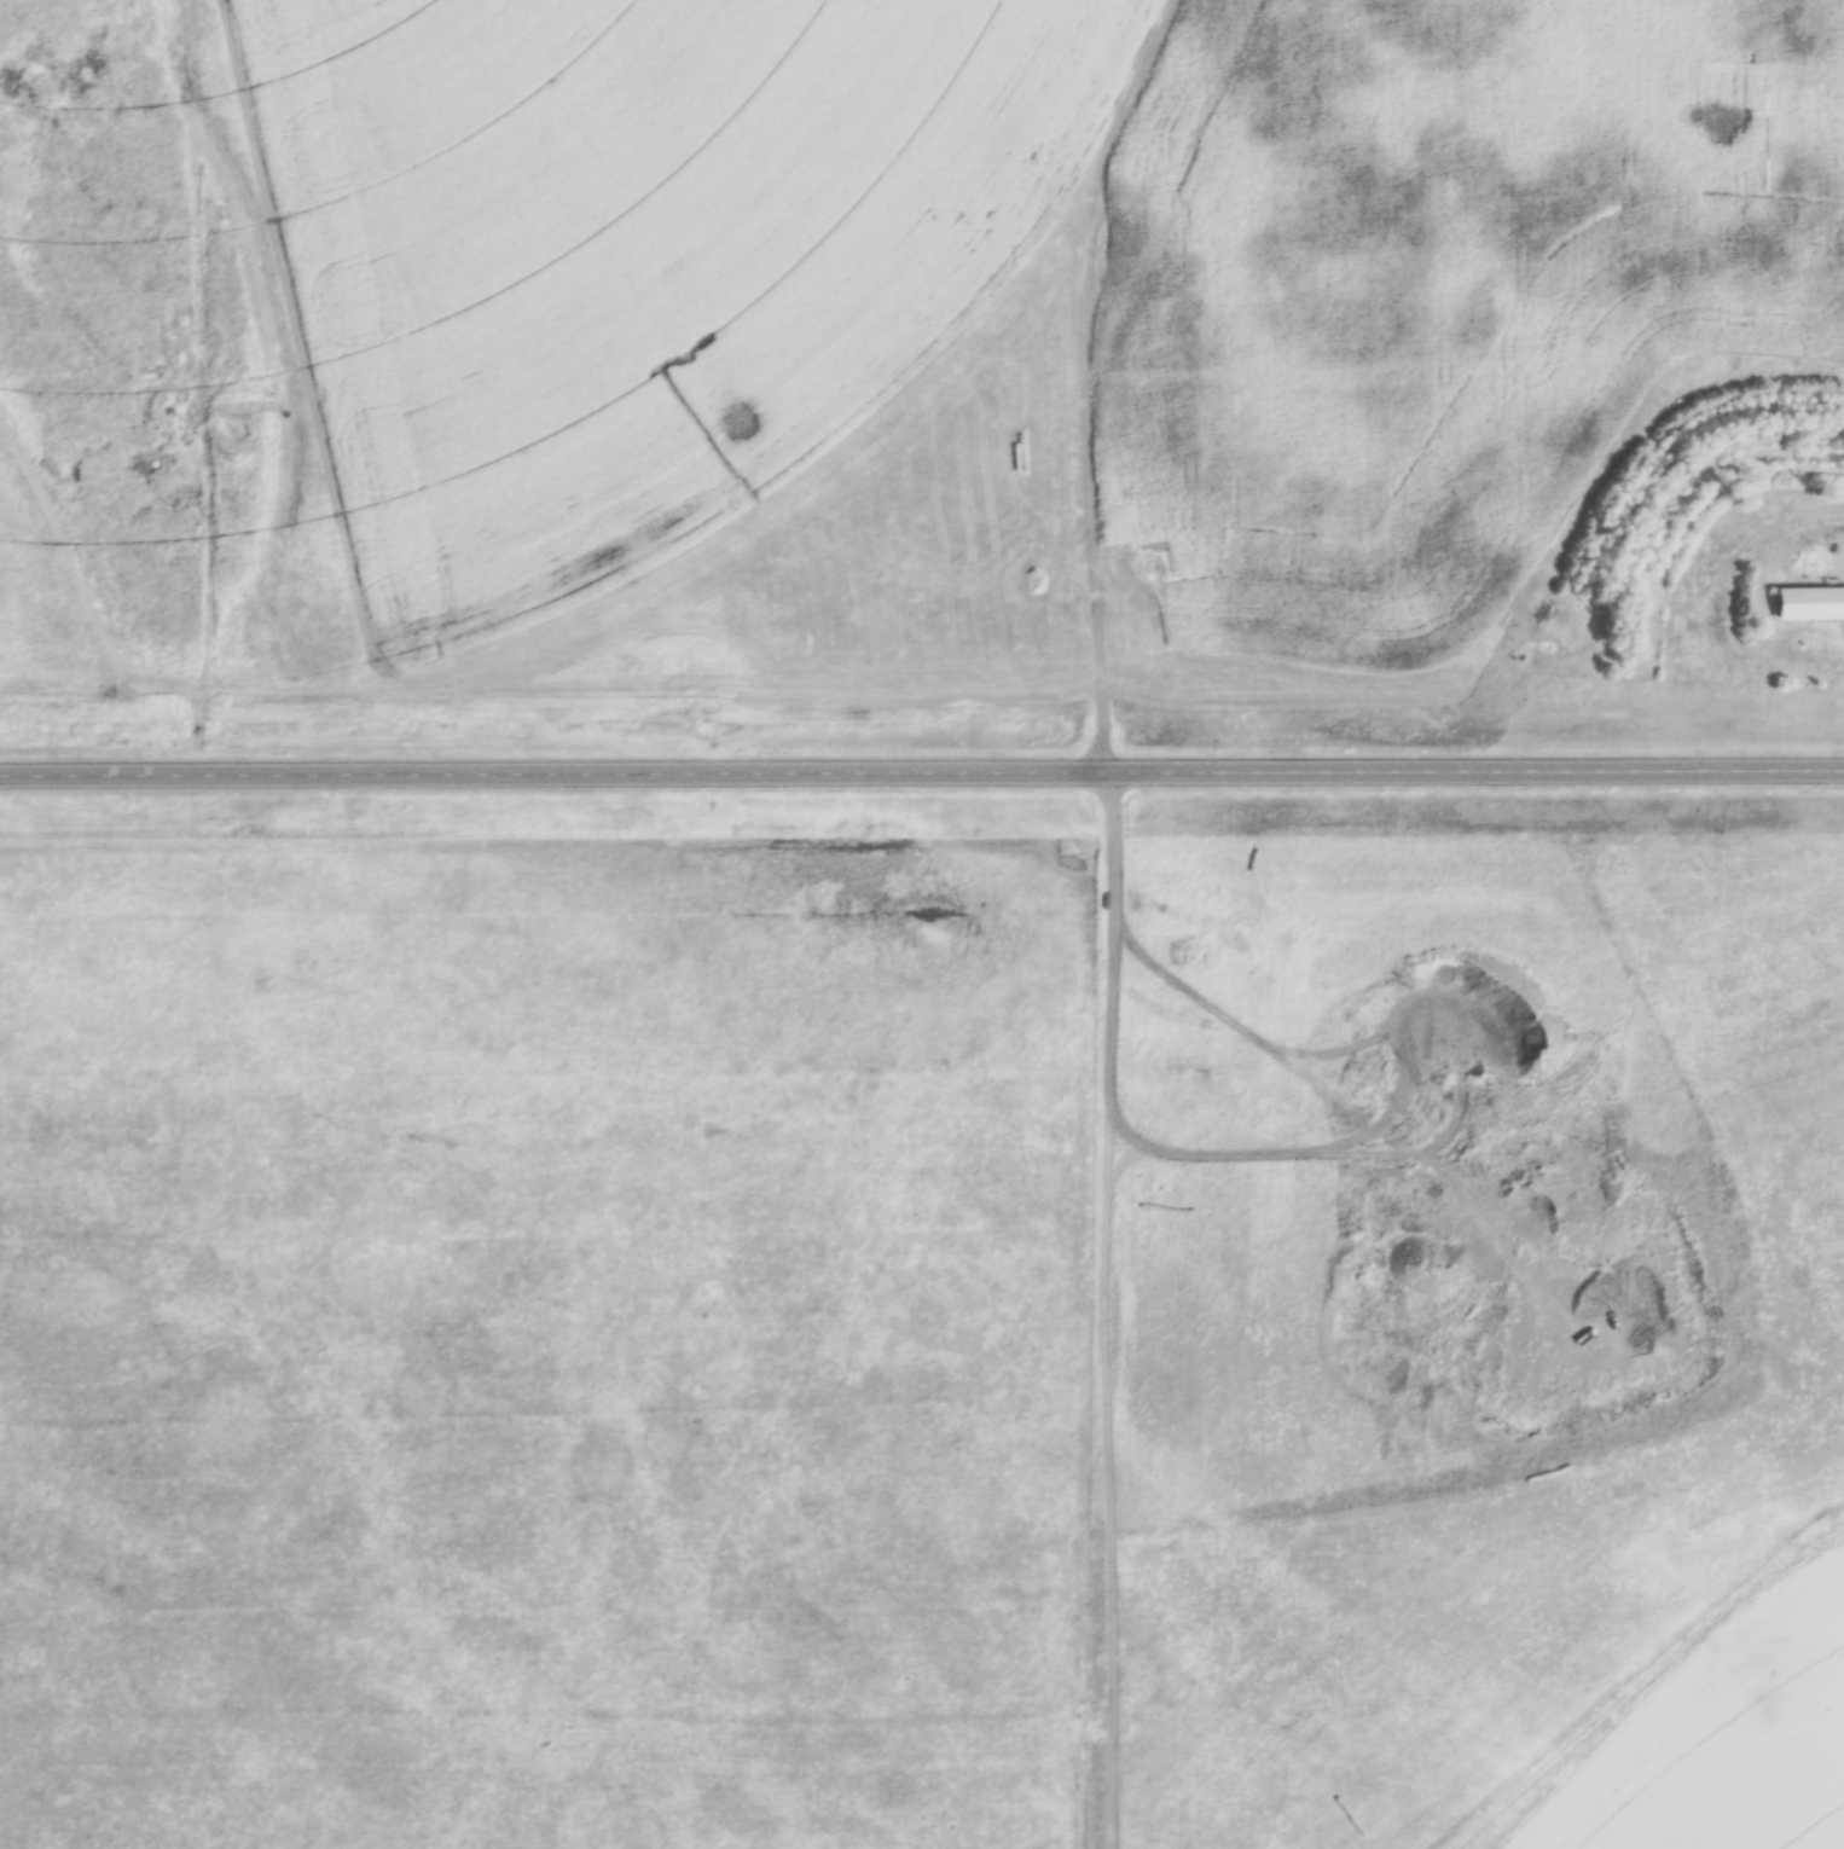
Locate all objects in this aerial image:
building: (1810, 601)
road: (922, 773)

